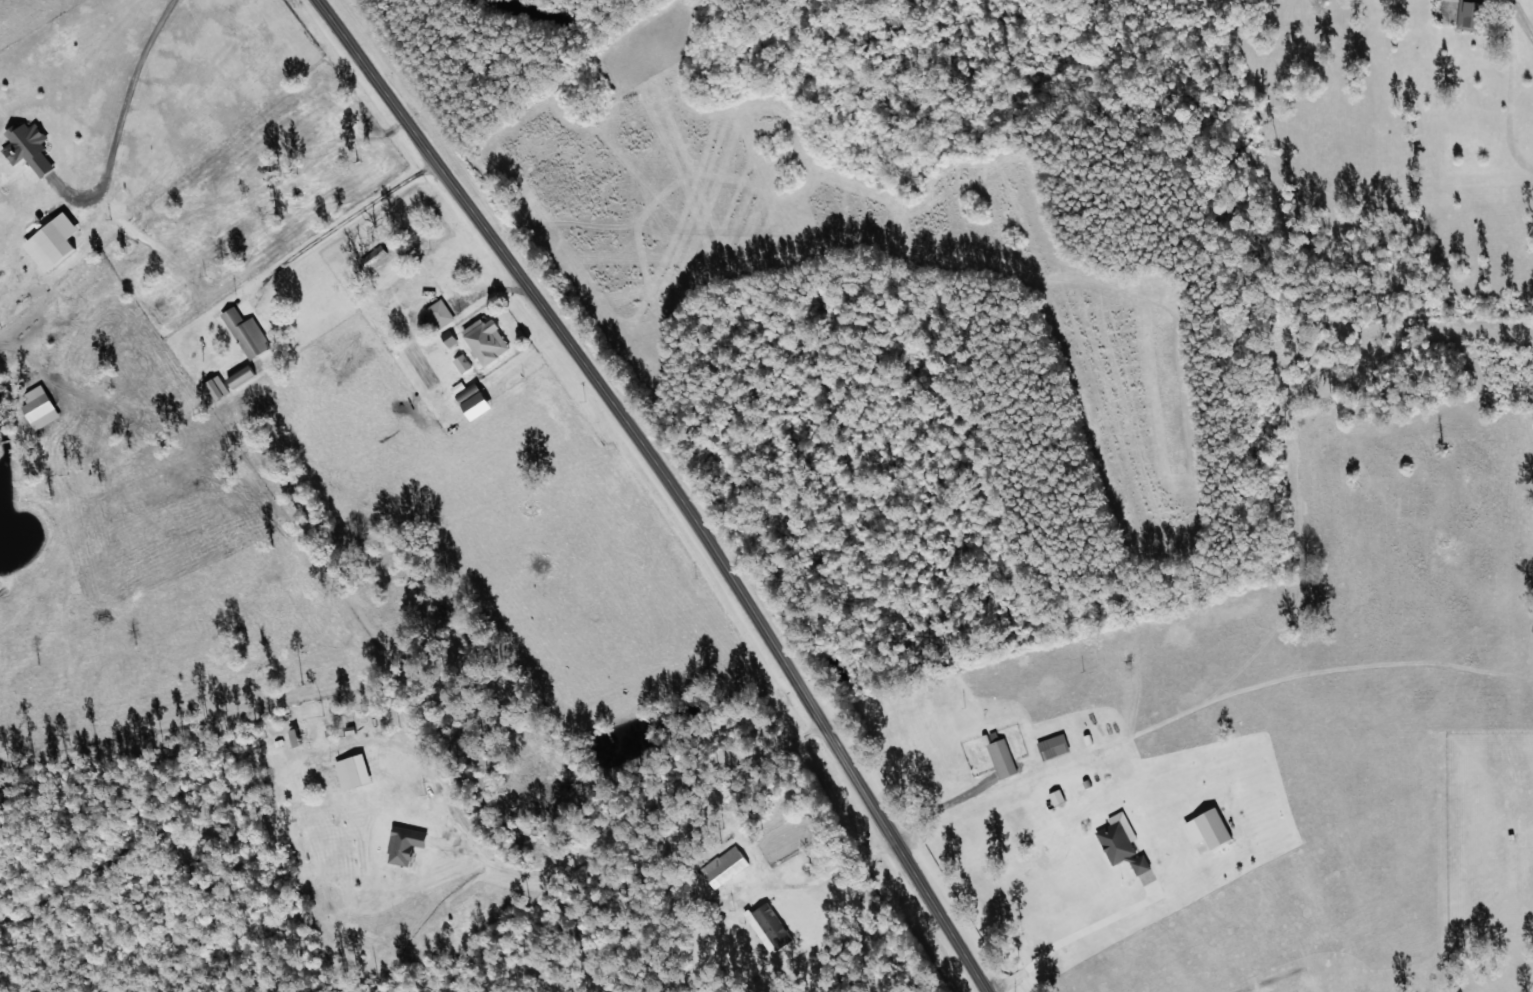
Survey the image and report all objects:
building: (1468, 14)
road: (1512, 103)
building: (26, 146)
building: (50, 241)
building: (439, 313)
building: (244, 332)
building: (447, 338)
building: (484, 340)
building: (36, 407)
road: (668, 483)
building: (1052, 746)
building: (1001, 758)
building: (351, 771)
building: (1055, 797)
building: (1206, 828)
building: (1120, 842)
building: (403, 844)
building: (723, 866)

